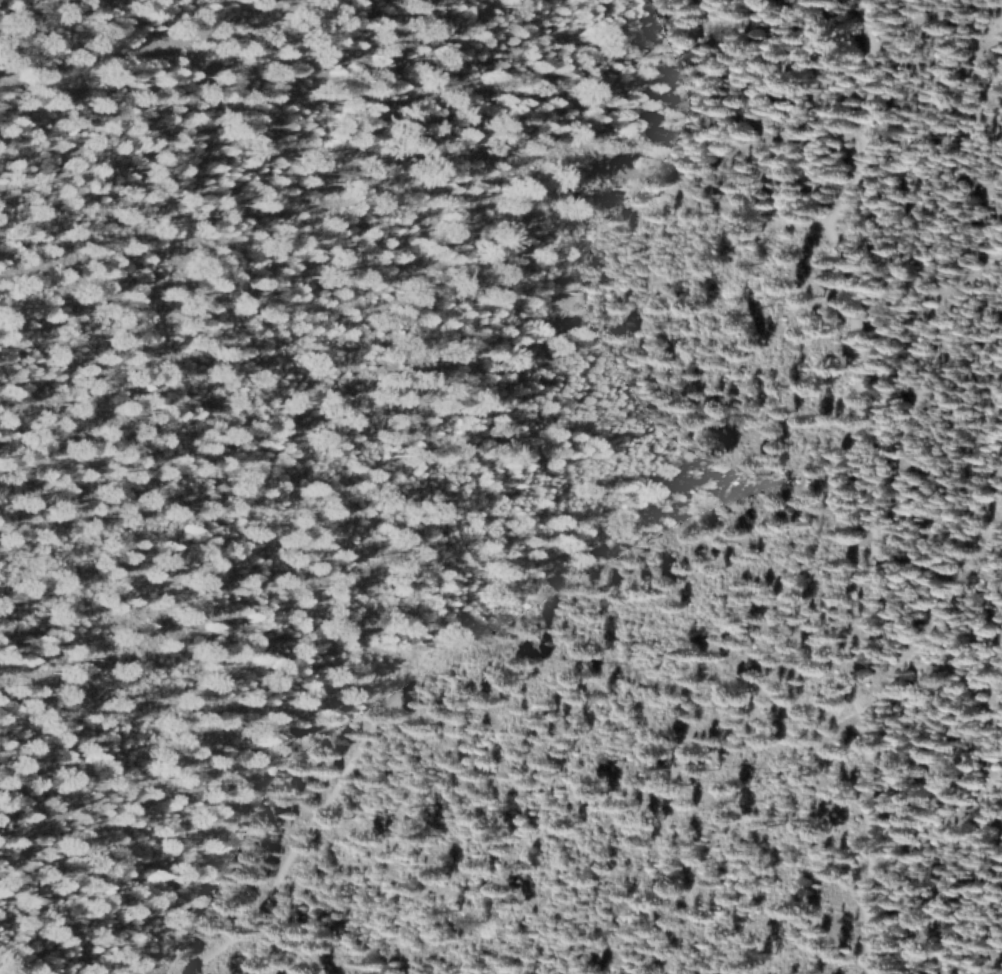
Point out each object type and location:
road: (137, 51)
road: (861, 486)
road: (437, 664)
road: (309, 831)

